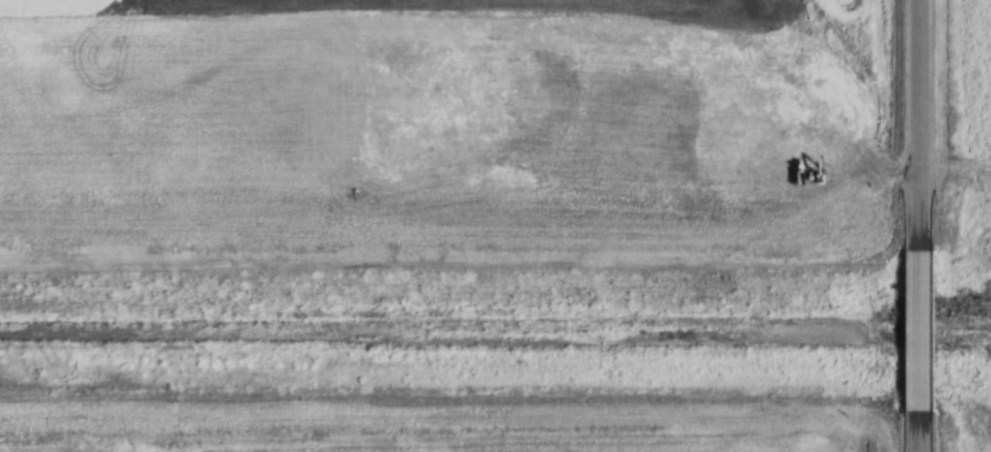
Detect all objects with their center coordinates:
road: (923, 59)
road: (922, 285)

